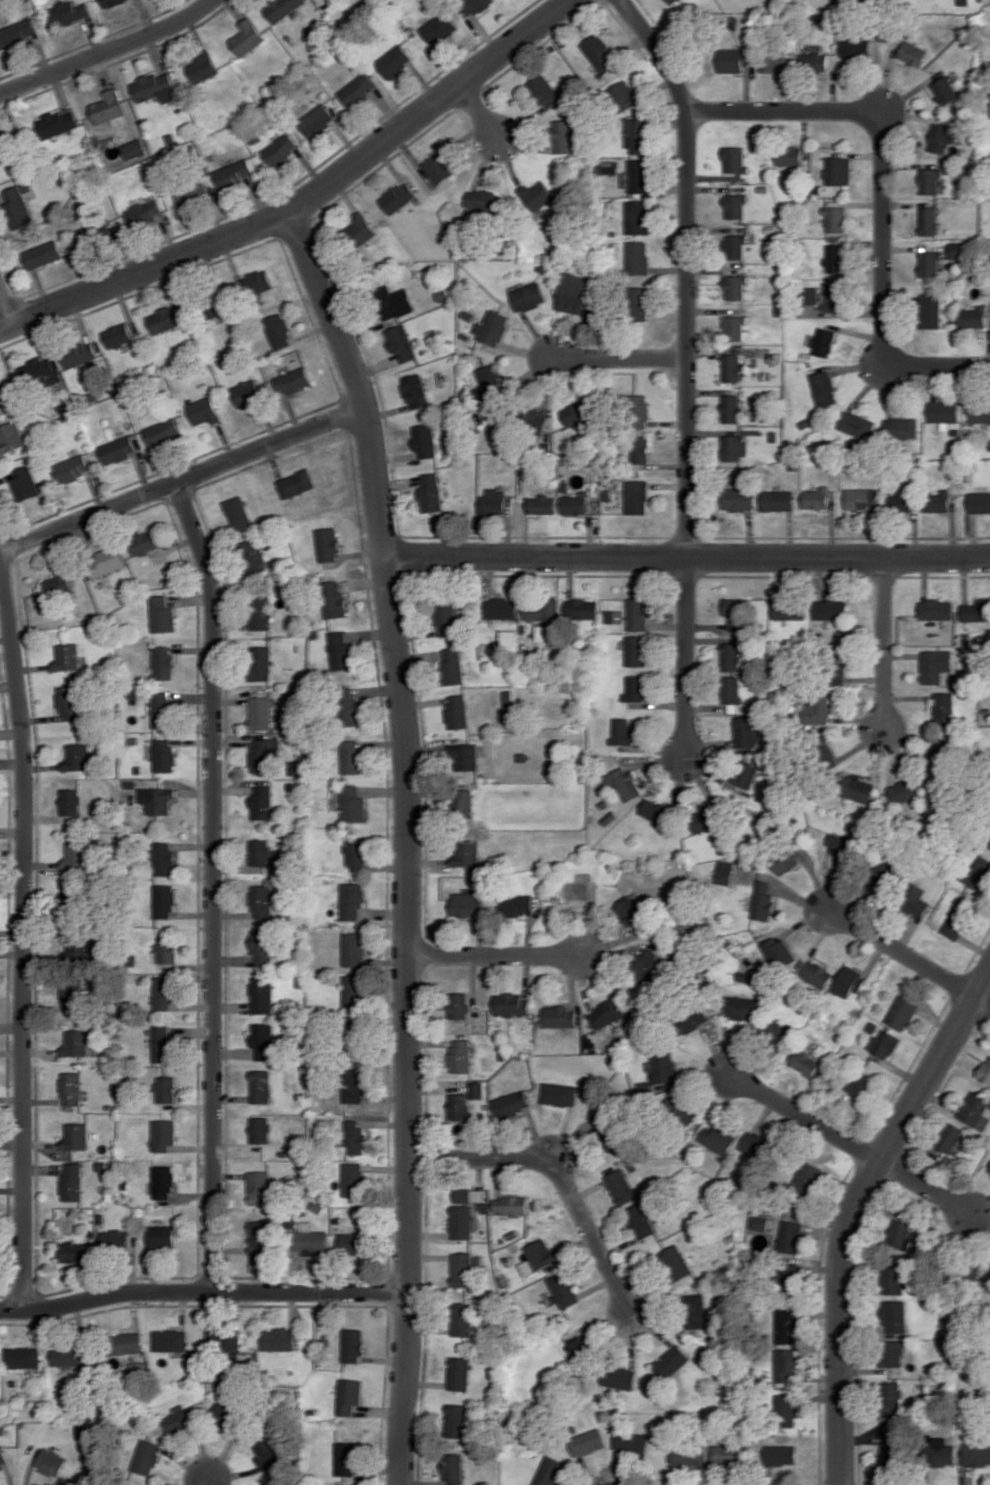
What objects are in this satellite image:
building: (669, 1)
building: (109, 2)
building: (473, 6)
building: (281, 8)
building: (68, 13)
building: (439, 28)
building: (18, 32)
building: (247, 37)
building: (856, 48)
road: (108, 51)
building: (913, 53)
building: (599, 54)
building: (734, 60)
building: (394, 61)
building: (775, 61)
building: (815, 61)
building: (202, 67)
building: (156, 87)
building: (358, 89)
building: (946, 90)
building: (545, 91)
building: (623, 95)
building: (109, 108)
road: (478, 111)
building: (317, 120)
building: (58, 123)
building: (564, 134)
building: (638, 134)
building: (945, 137)
building: (134, 149)
building: (280, 150)
building: (4, 151)
building: (790, 156)
building: (735, 159)
building: (440, 168)
building: (838, 170)
building: (234, 173)
building: (636, 175)
building: (930, 180)
building: (193, 192)
road: (883, 192)
building: (538, 195)
building: (398, 197)
road: (306, 200)
building: (484, 200)
building: (735, 206)
building: (18, 207)
building: (145, 212)
building: (637, 217)
building: (836, 218)
building: (928, 220)
building: (360, 230)
building: (87, 235)
building: (735, 246)
building: (959, 250)
building: (43, 254)
building: (637, 257)
building: (836, 258)
building: (929, 263)
road: (687, 268)
building: (257, 282)
building: (735, 287)
building: (574, 293)
building: (529, 296)
building: (811, 296)
building: (835, 298)
building: (393, 302)
building: (640, 303)
building: (930, 310)
road: (3, 317)
building: (973, 317)
building: (166, 319)
building: (493, 327)
building: (734, 328)
building: (278, 331)
building: (118, 336)
building: (823, 342)
building: (401, 343)
building: (79, 354)
road: (620, 358)
building: (731, 367)
building: (39, 373)
building: (293, 380)
building: (491, 382)
building: (823, 388)
building: (415, 391)
building: (247, 393)
building: (1, 404)
building: (731, 408)
building: (638, 410)
building: (204, 411)
building: (578, 413)
building: (979, 413)
building: (535, 418)
building: (855, 424)
building: (901, 427)
building: (163, 432)
building: (11, 436)
building: (425, 440)
building: (735, 447)
building: (118, 449)
building: (640, 449)
building: (72, 468)
road: (182, 479)
building: (296, 483)
building: (25, 484)
building: (431, 493)
building: (637, 497)
building: (817, 498)
building: (738, 499)
building: (861, 499)
building: (777, 500)
building: (494, 501)
building: (938, 501)
building: (979, 502)
building: (900, 503)
building: (543, 504)
building: (575, 504)
building: (237, 513)
building: (144, 542)
building: (328, 544)
building: (253, 556)
road: (687, 556)
building: (106, 561)
building: (58, 583)
building: (334, 600)
building: (502, 607)
building: (583, 608)
building: (543, 609)
building: (830, 609)
building: (935, 609)
building: (789, 610)
building: (976, 610)
building: (260, 613)
building: (639, 613)
building: (735, 613)
building: (162, 614)
building: (611, 616)
building: (446, 618)
building: (510, 638)
road: (883, 643)
building: (340, 650)
building: (636, 650)
building: (66, 656)
building: (732, 656)
road: (686, 657)
building: (163, 662)
building: (260, 663)
building: (934, 665)
building: (452, 666)
building: (835, 669)
building: (637, 688)
building: (732, 689)
building: (68, 702)
building: (349, 706)
building: (943, 708)
building: (161, 709)
building: (817, 709)
building: (457, 711)
building: (261, 712)
building: (623, 731)
building: (745, 732)
building: (824, 750)
building: (264, 754)
building: (163, 755)
building: (75, 757)
building: (352, 757)
building: (464, 757)
building: (746, 776)
building: (625, 783)
building: (857, 789)
building: (906, 790)
building: (157, 800)
building: (70, 801)
building: (261, 802)
building: (462, 802)
building: (353, 804)
building: (655, 811)
building: (706, 819)
road: (408, 840)
building: (989, 844)
building: (840, 845)
building: (356, 853)
building: (466, 853)
building: (76, 855)
building: (260, 855)
building: (163, 858)
building: (786, 861)
building: (724, 871)
building: (979, 872)
road: (213, 883)
building: (69, 896)
building: (352, 900)
building: (163, 901)
building: (261, 901)
building: (763, 901)
building: (916, 901)
building: (469, 903)
building: (516, 904)
building: (632, 913)
building: (955, 924)
road: (24, 931)
building: (262, 948)
building: (166, 949)
building: (354, 949)
building: (77, 950)
road: (902, 951)
building: (778, 952)
road: (495, 955)
building: (647, 965)
building: (818, 974)
building: (849, 981)
building: (354, 992)
building: (162, 993)
building: (71, 996)
building: (262, 998)
road: (982, 1001)
building: (511, 1004)
building: (459, 1005)
building: (741, 1007)
building: (902, 1011)
building: (608, 1012)
building: (559, 1016)
building: (694, 1018)
building: (776, 1032)
building: (262, 1040)
building: (76, 1043)
building: (162, 1044)
building: (883, 1044)
building: (462, 1055)
building: (805, 1062)
building: (664, 1069)
building: (985, 1070)
building: (352, 1085)
building: (260, 1086)
building: (859, 1086)
building: (72, 1088)
building: (165, 1089)
building: (477, 1090)
building: (560, 1094)
building: (512, 1103)
building: (459, 1106)
building: (975, 1110)
building: (680, 1112)
road: (806, 1116)
building: (259, 1130)
building: (610, 1133)
building: (164, 1134)
building: (76, 1137)
building: (353, 1137)
building: (950, 1137)
building: (719, 1138)
building: (756, 1144)
building: (989, 1169)
road: (559, 1174)
building: (807, 1178)
building: (352, 1179)
building: (73, 1181)
building: (163, 1181)
building: (621, 1186)
building: (259, 1187)
road: (925, 1187)
building: (463, 1195)
building: (511, 1205)
road: (853, 1210)
building: (761, 1220)
building: (641, 1221)
building: (462, 1222)
building: (901, 1233)
building: (791, 1236)
building: (162, 1237)
building: (263, 1237)
building: (310, 1238)
building: (115, 1239)
building: (351, 1242)
building: (73, 1251)
building: (537, 1256)
building: (677, 1262)
building: (461, 1269)
building: (790, 1276)
building: (894, 1279)
building: (563, 1290)
road: (203, 1291)
building: (696, 1311)
building: (896, 1316)
building: (462, 1318)
building: (787, 1325)
building: (278, 1339)
building: (170, 1340)
building: (223, 1340)
building: (127, 1343)
building: (352, 1345)
building: (580, 1348)
building: (894, 1353)
building: (69, 1356)
building: (23, 1357)
building: (672, 1362)
building: (787, 1365)
building: (459, 1373)
building: (619, 1377)
building: (349, 1395)
building: (893, 1395)
building: (787, 1410)
building: (225, 1415)
building: (175, 1420)
building: (456, 1420)
building: (588, 1442)
building: (632, 1443)
building: (894, 1450)
building: (266, 1452)
building: (941, 1453)
building: (782, 1454)
building: (977, 1454)
building: (731, 1455)
building: (690, 1456)
building: (146, 1457)
building: (3, 1458)
building: (346, 1458)
building: (51, 1462)
building: (453, 1468)
building: (550, 1471)
road: (209, 1482)
building: (347, 1484)

